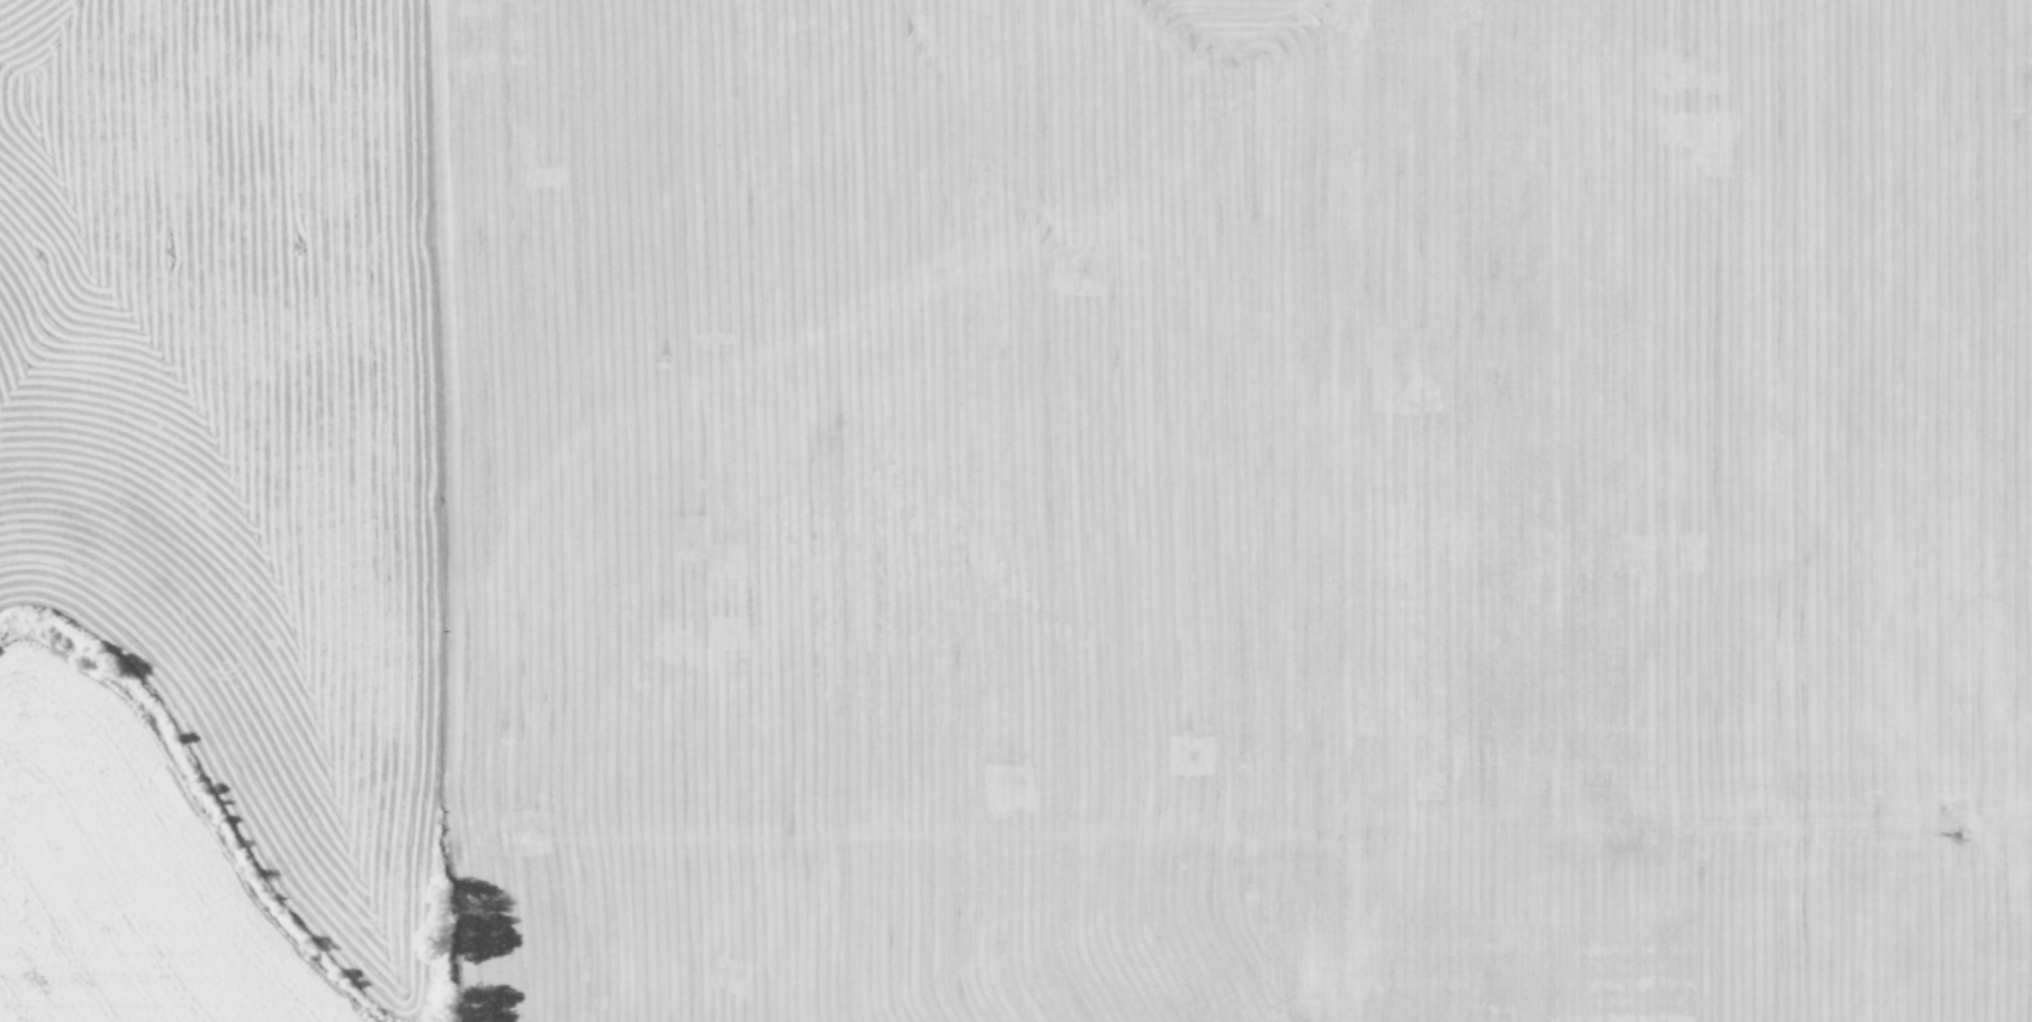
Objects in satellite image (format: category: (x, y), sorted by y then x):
crop: (1016, 511)

